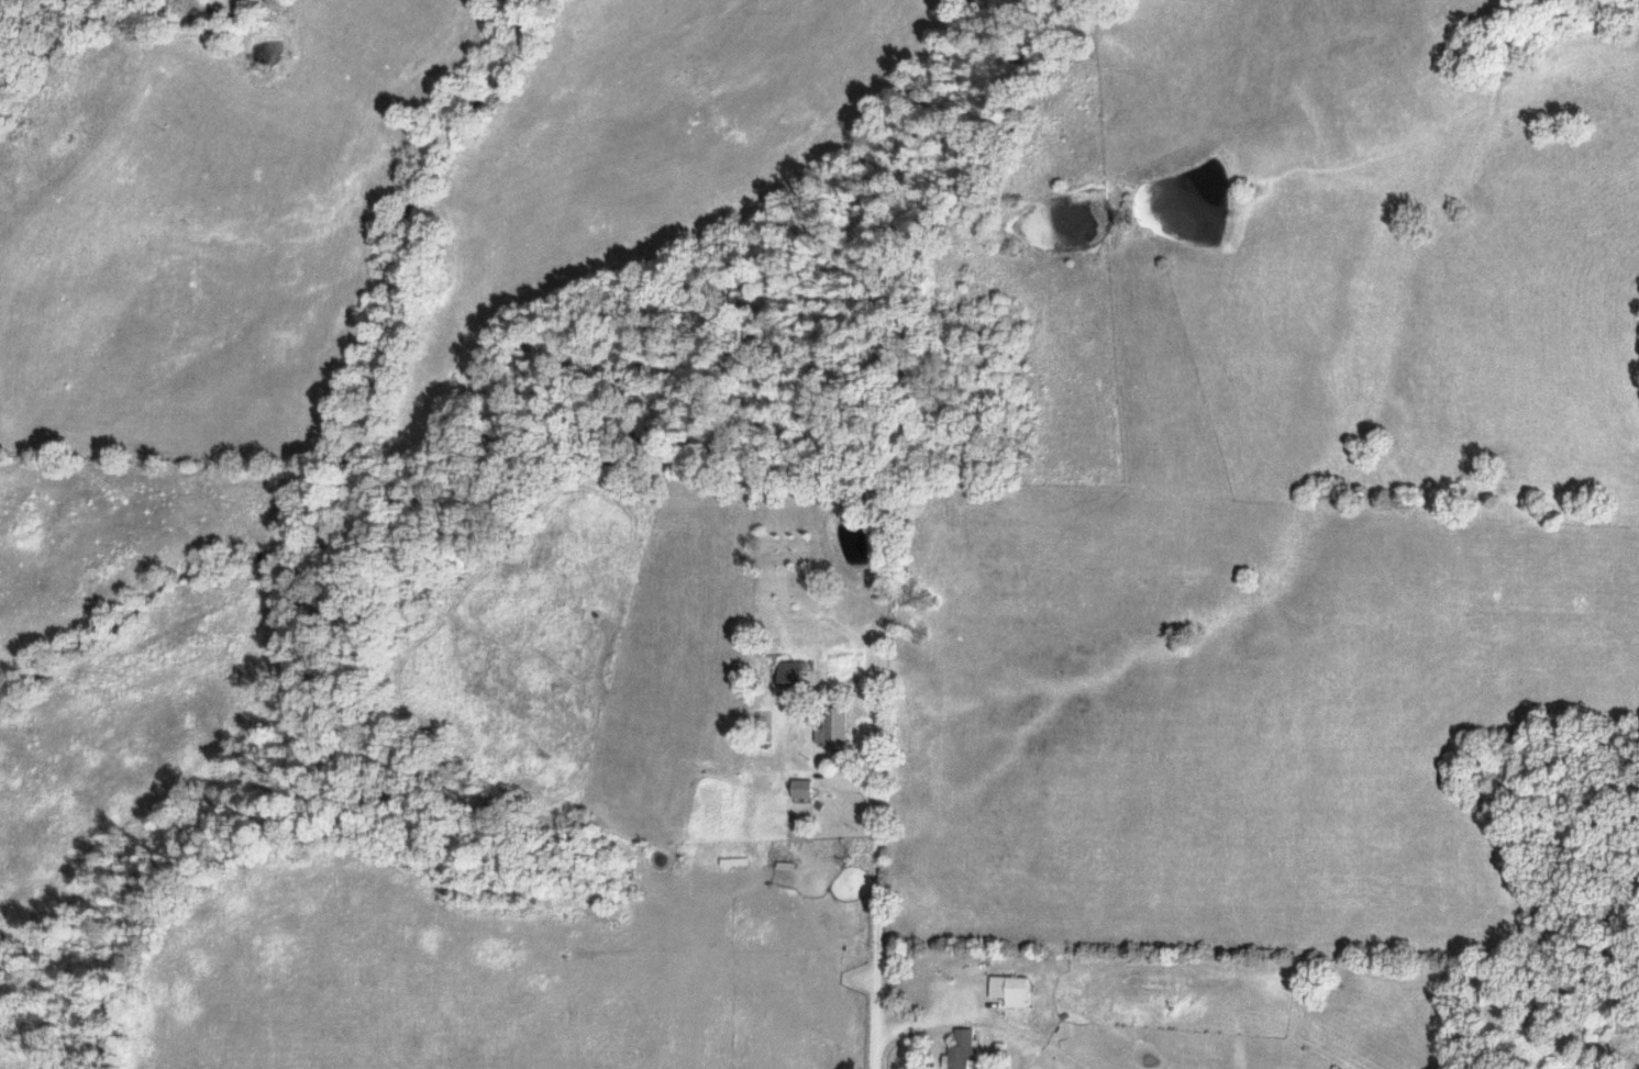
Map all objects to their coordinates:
building: (837, 727)
building: (806, 788)
road: (877, 913)
building: (1016, 990)
road: (930, 1017)
building: (967, 1050)

